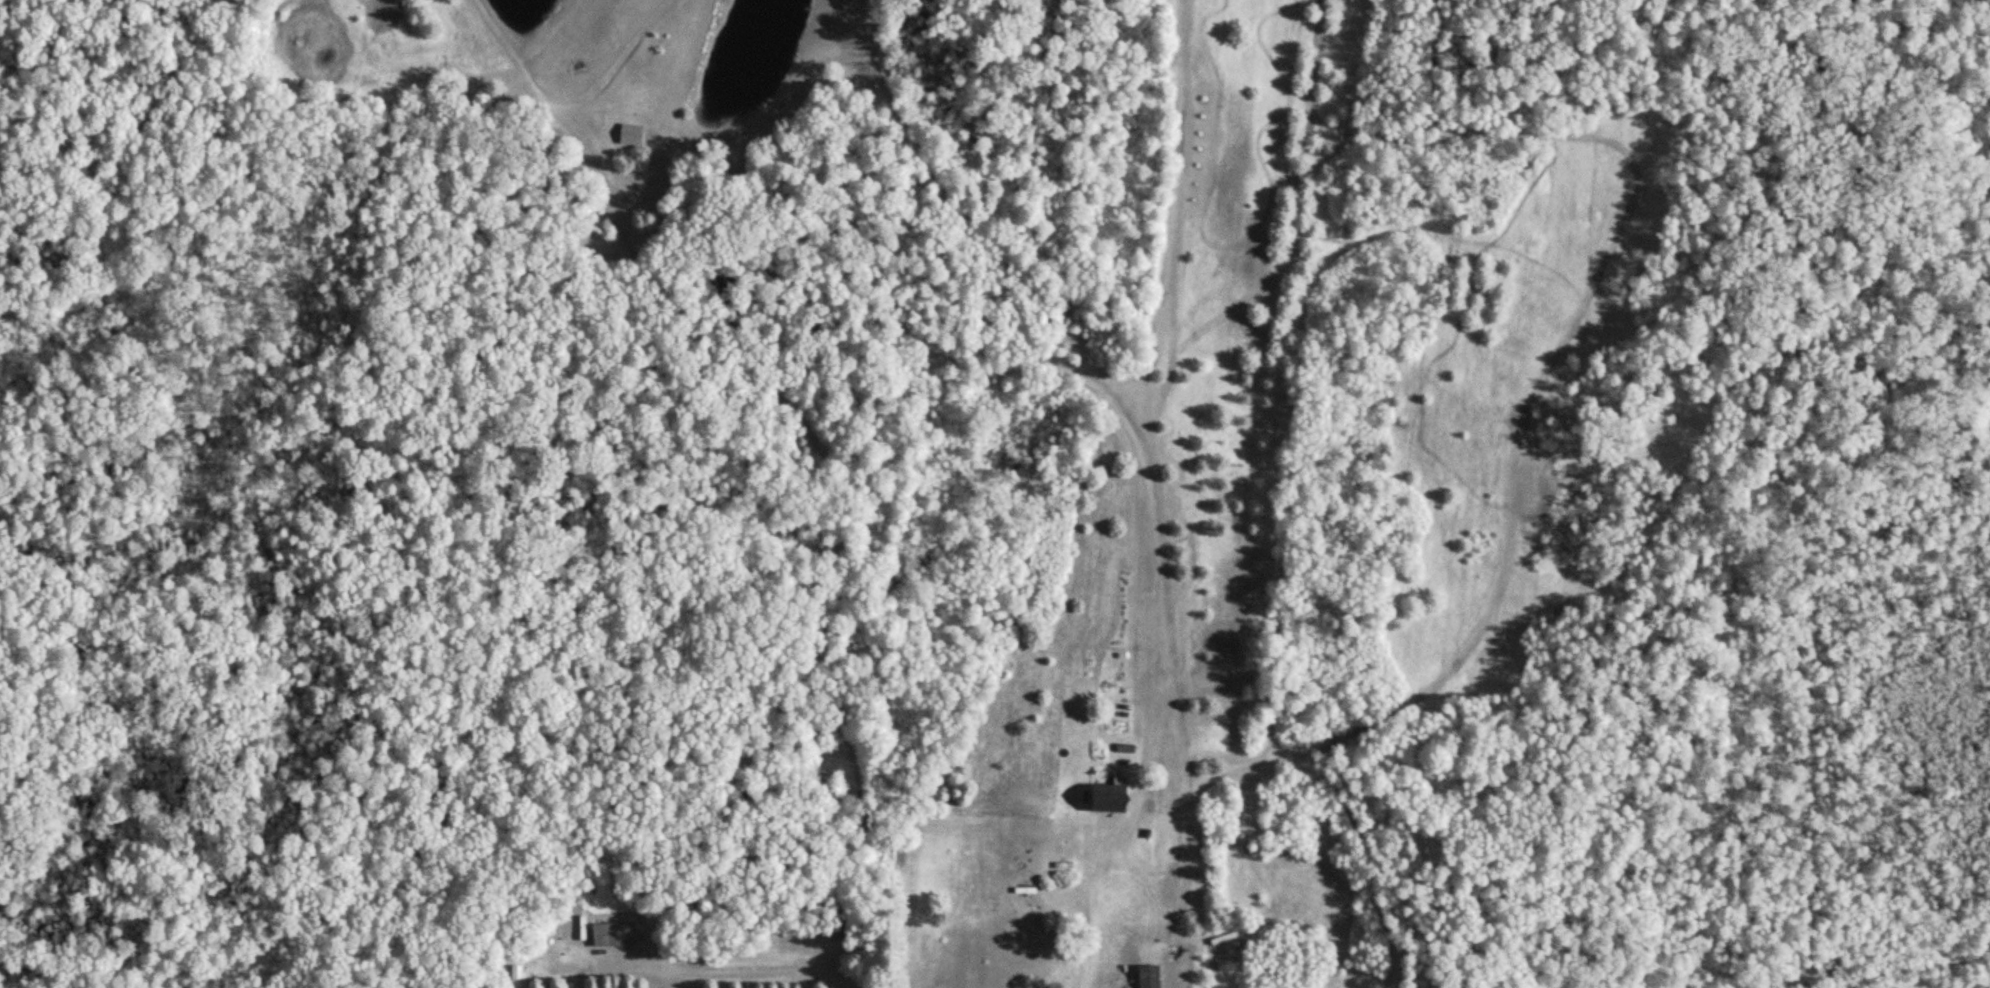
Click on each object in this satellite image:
building: (1116, 798)
building: (620, 933)
road: (1096, 972)
building: (524, 977)

